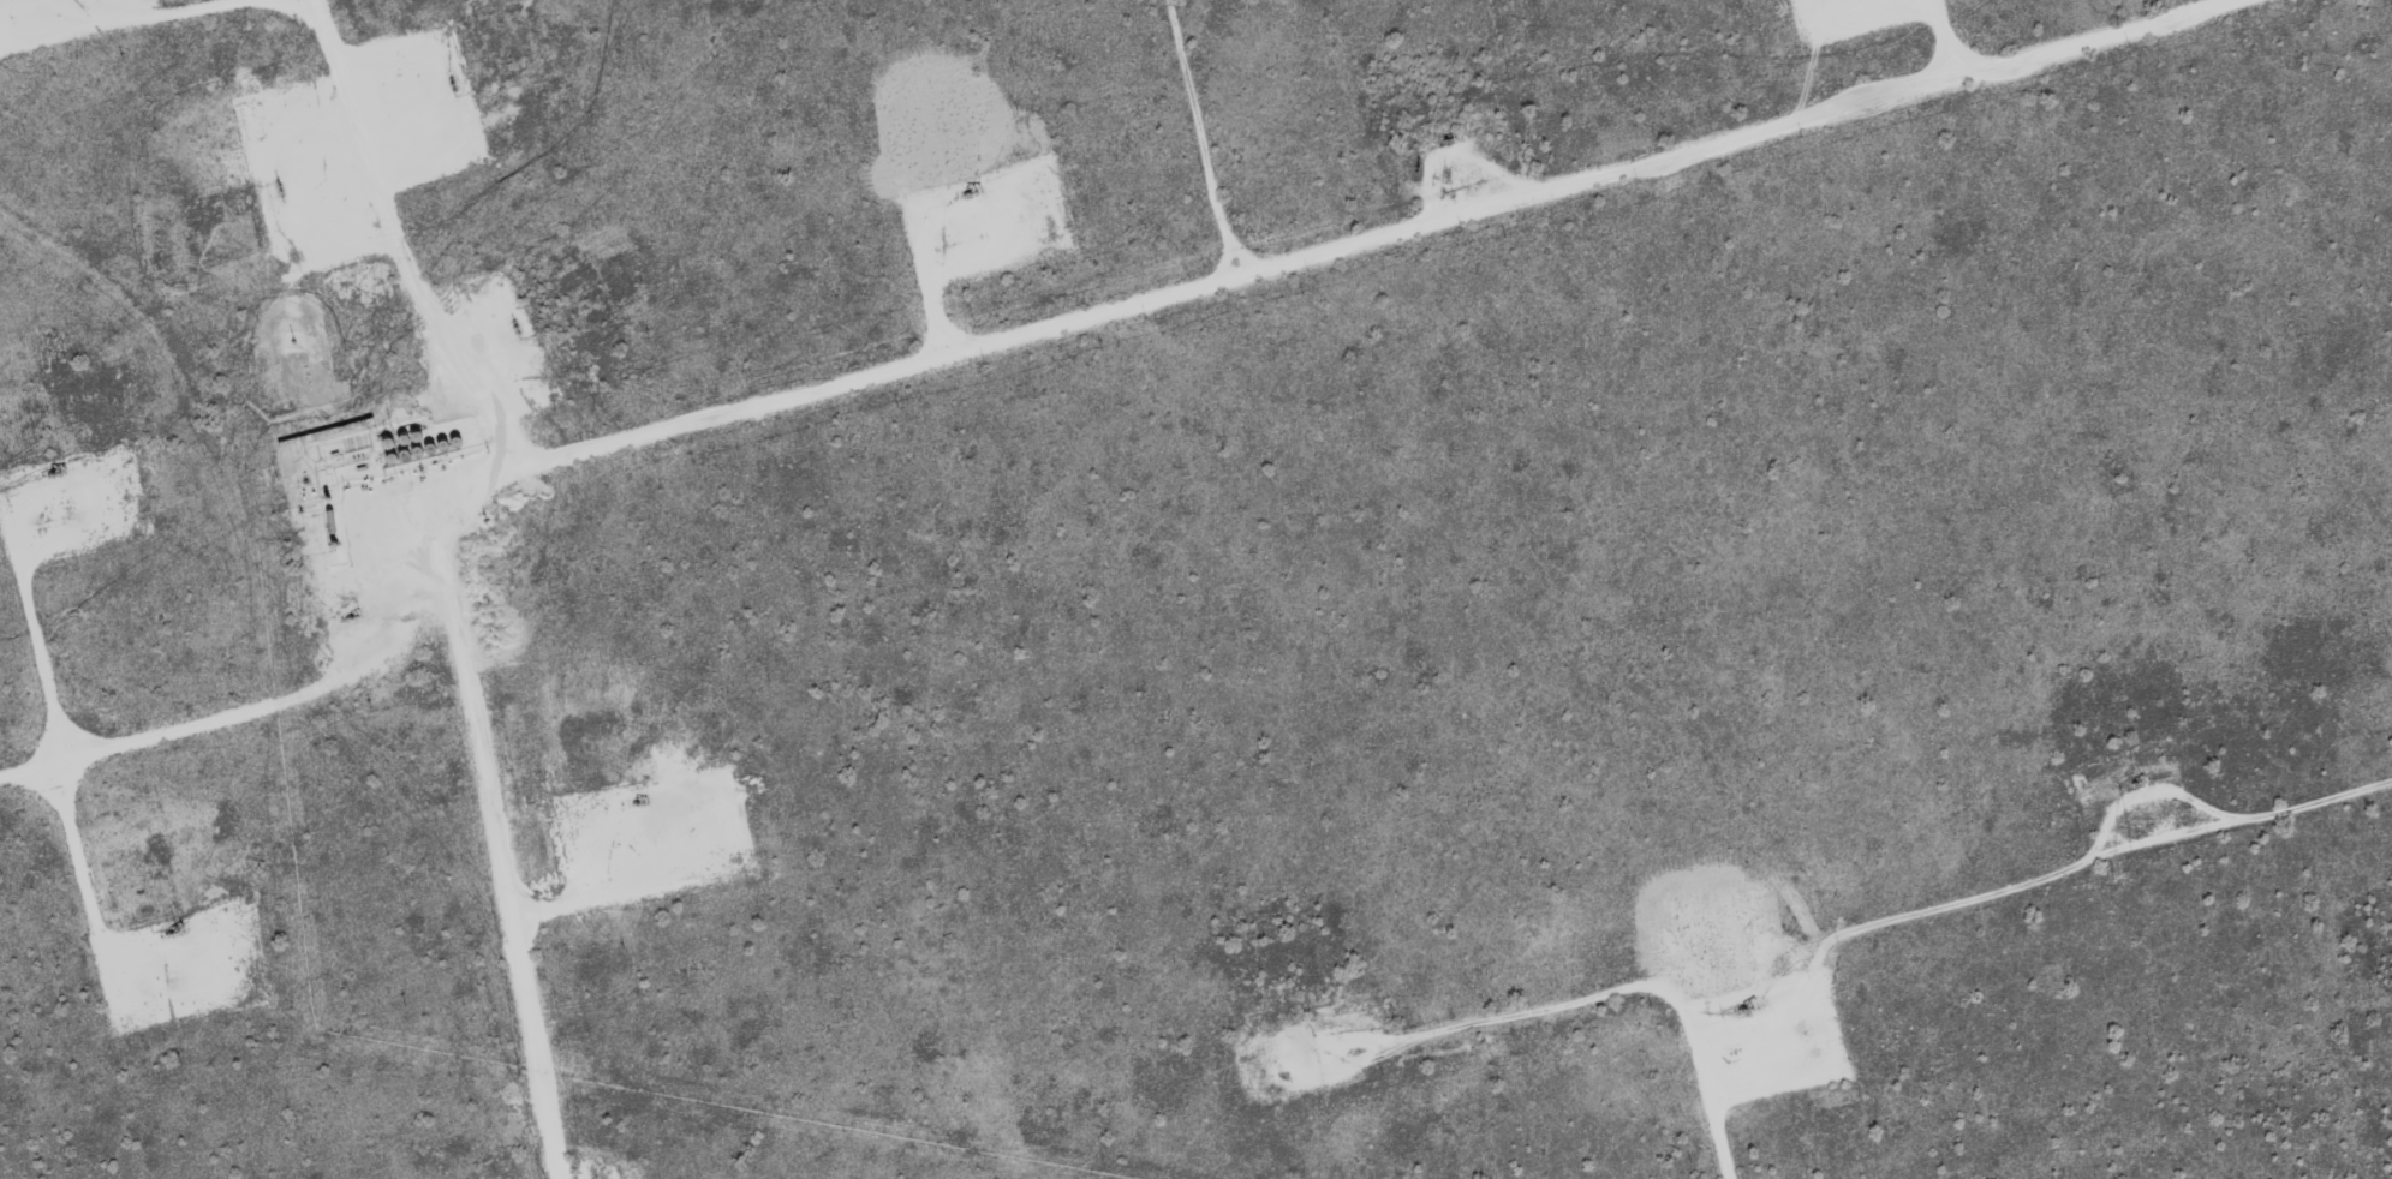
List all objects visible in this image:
road: (499, 875)

